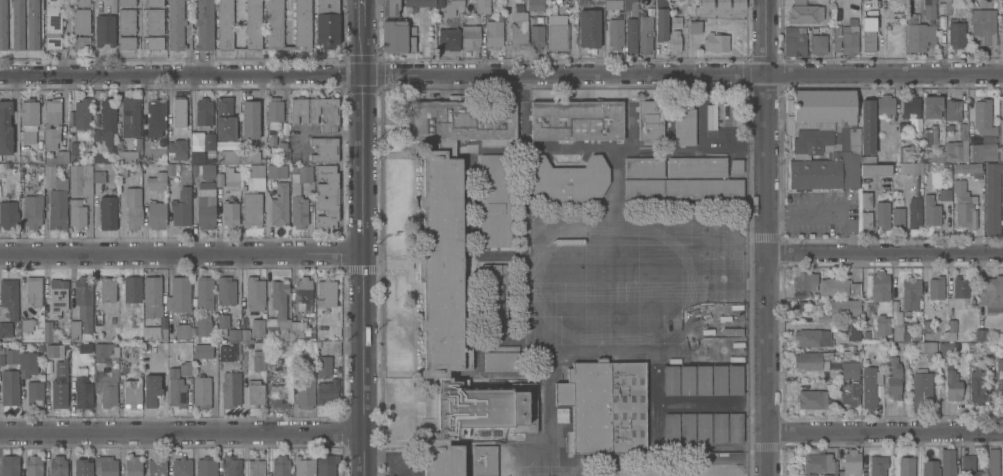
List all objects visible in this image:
building: (80, 2)
building: (126, 2)
building: (440, 2)
building: (590, 2)
building: (155, 3)
building: (419, 3)
building: (613, 4)
building: (706, 4)
building: (535, 5)
building: (722, 5)
building: (738, 5)
building: (452, 6)
building: (482, 6)
building: (630, 6)
building: (389, 7)
building: (943, 7)
building: (868, 8)
building: (926, 9)
building: (804, 12)
road: (359, 13)
building: (839, 14)
building: (80, 21)
building: (126, 21)
building: (155, 21)
building: (660, 21)
building: (274, 23)
building: (326, 23)
building: (32, 24)
building: (52, 24)
building: (224, 24)
building: (253, 24)
building: (983, 24)
building: (3, 25)
building: (17, 25)
building: (175, 25)
building: (204, 25)
building: (588, 27)
building: (693, 27)
building: (104, 30)
building: (615, 31)
building: (644, 33)
building: (867, 33)
building: (955, 33)
building: (493, 34)
building: (518, 34)
building: (918, 34)
building: (674, 35)
building: (536, 36)
building: (557, 36)
building: (630, 36)
building: (397, 37)
building: (470, 37)
building: (849, 37)
building: (448, 38)
building: (836, 38)
building: (81, 42)
building: (126, 42)
building: (155, 42)
building: (793, 42)
building: (715, 43)
building: (817, 44)
road: (501, 75)
building: (885, 105)
building: (910, 106)
building: (932, 107)
building: (298, 109)
building: (952, 109)
building: (178, 111)
building: (203, 111)
building: (82, 113)
building: (324, 113)
building: (28, 114)
building: (274, 114)
building: (128, 116)
building: (154, 116)
building: (710, 117)
building: (982, 117)
building: (224, 118)
building: (250, 119)
building: (576, 119)
building: (650, 119)
building: (95, 120)
building: (462, 121)
building: (51, 122)
building: (684, 124)
building: (106, 125)
building: (1002, 125)
building: (867, 126)
building: (5, 127)
building: (929, 136)
building: (823, 138)
building: (272, 141)
building: (208, 142)
building: (958, 145)
building: (179, 146)
building: (324, 149)
building: (73, 150)
building: (282, 150)
building: (983, 151)
building: (1001, 152)
building: (60, 153)
building: (904, 154)
building: (127, 156)
building: (229, 156)
building: (251, 156)
building: (886, 156)
building: (934, 156)
building: (100, 157)
building: (196, 157)
building: (867, 159)
building: (736, 166)
building: (696, 167)
building: (643, 168)
building: (969, 168)
building: (253, 169)
building: (875, 169)
building: (910, 169)
building: (170, 170)
building: (195, 170)
building: (207, 171)
building: (276, 171)
building: (78, 177)
building: (99, 177)
building: (231, 178)
building: (219, 180)
building: (566, 180)
building: (156, 181)
building: (915, 184)
building: (682, 189)
building: (943, 194)
building: (299, 196)
building: (327, 196)
building: (55, 197)
building: (992, 198)
building: (495, 200)
building: (865, 200)
building: (279, 205)
building: (963, 205)
building: (132, 207)
building: (181, 207)
building: (205, 208)
building: (251, 209)
building: (32, 210)
building: (930, 211)
building: (107, 212)
road: (805, 212)
building: (914, 212)
building: (76, 213)
building: (8, 214)
building: (156, 214)
building: (230, 214)
building: (882, 214)
building: (897, 217)
building: (865, 220)
road: (848, 233)
road: (764, 237)
road: (359, 251)
road: (179, 255)
road: (883, 255)
building: (441, 265)
building: (804, 280)
building: (832, 286)
building: (879, 286)
building: (960, 286)
building: (935, 287)
building: (132, 288)
building: (107, 289)
building: (853, 289)
building: (33, 290)
building: (225, 290)
building: (910, 292)
building: (204, 293)
building: (254, 293)
building: (303, 293)
building: (326, 293)
building: (179, 294)
building: (990, 294)
building: (57, 295)
building: (151, 296)
building: (9, 297)
building: (494, 300)
building: (84, 303)
building: (844, 307)
building: (278, 311)
building: (895, 317)
building: (822, 318)
building: (222, 321)
building: (26, 324)
building: (320, 324)
building: (880, 326)
building: (257, 327)
building: (926, 327)
building: (5, 328)
building: (202, 328)
building: (951, 328)
building: (74, 330)
building: (298, 330)
building: (47, 331)
building: (155, 331)
building: (182, 331)
building: (853, 332)
building: (896, 333)
building: (233, 334)
building: (866, 335)
building: (980, 335)
building: (244, 336)
building: (811, 337)
building: (84, 348)
building: (981, 349)
building: (51, 350)
building: (102, 350)
building: (922, 350)
building: (944, 350)
building: (202, 351)
building: (226, 352)
building: (1, 356)
building: (11, 356)
building: (960, 357)
building: (500, 358)
building: (258, 360)
building: (811, 360)
building: (27, 363)
building: (114, 364)
building: (323, 366)
building: (185, 368)
building: (121, 369)
building: (61, 370)
building: (849, 371)
building: (893, 376)
building: (669, 380)
building: (685, 380)
building: (701, 380)
building: (717, 380)
building: (733, 380)
building: (999, 381)
building: (952, 385)
building: (921, 386)
building: (976, 386)
building: (10, 387)
building: (868, 387)
building: (175, 388)
building: (230, 389)
building: (108, 390)
building: (151, 390)
building: (35, 391)
building: (81, 391)
building: (327, 391)
building: (201, 392)
building: (305, 392)
building: (58, 393)
building: (132, 393)
building: (255, 393)
building: (847, 394)
building: (279, 395)
building: (811, 399)
building: (605, 406)
building: (484, 407)
building: (561, 415)
building: (669, 428)
building: (701, 428)
building: (734, 428)
road: (884, 431)
road: (180, 435)
building: (441, 458)
building: (484, 460)
building: (818, 462)
building: (947, 462)
building: (990, 462)
building: (326, 464)
building: (850, 464)
building: (10, 465)
building: (877, 465)
building: (32, 466)
building: (58, 466)
building: (82, 466)
building: (105, 466)
building: (133, 466)
building: (156, 466)
building: (206, 466)
building: (231, 466)
building: (280, 466)
building: (304, 466)
building: (905, 466)
building: (969, 466)
building: (181, 467)
building: (255, 467)
building: (930, 468)

